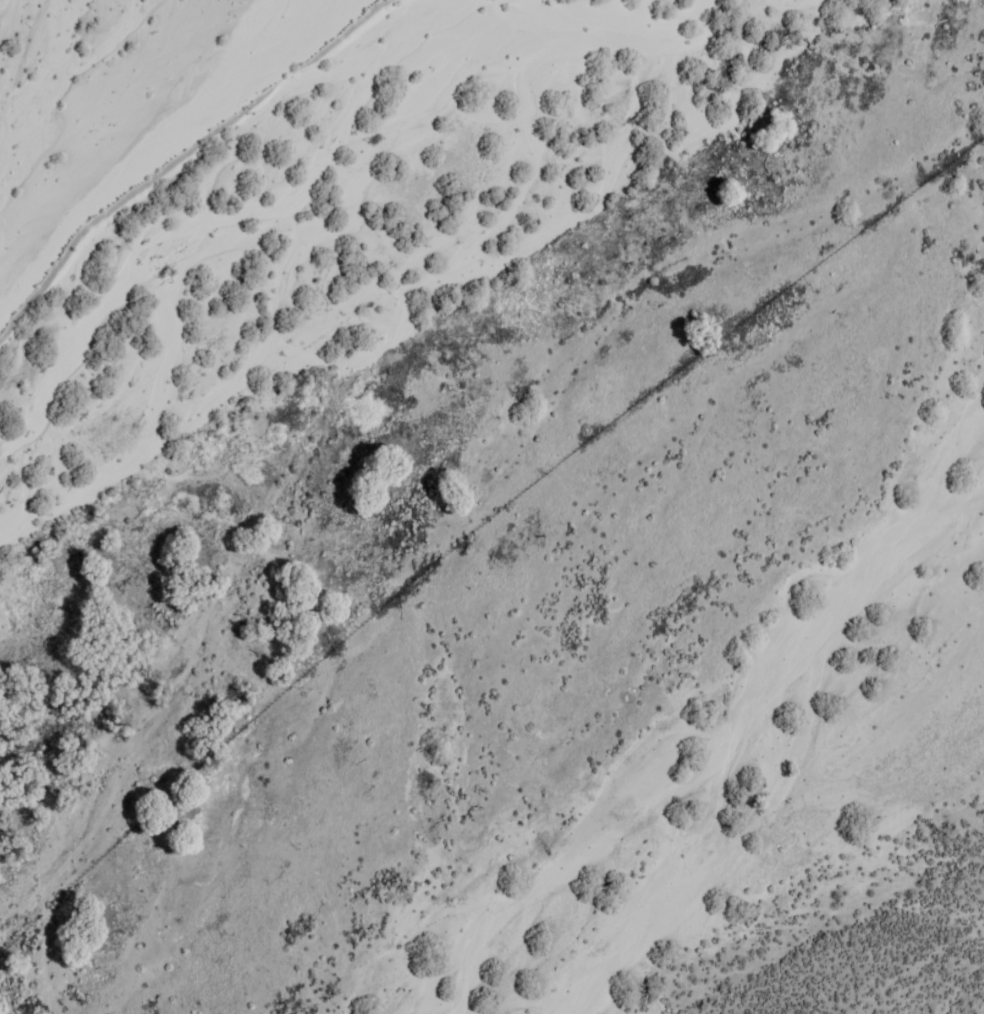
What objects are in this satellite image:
river: (373, 322)

